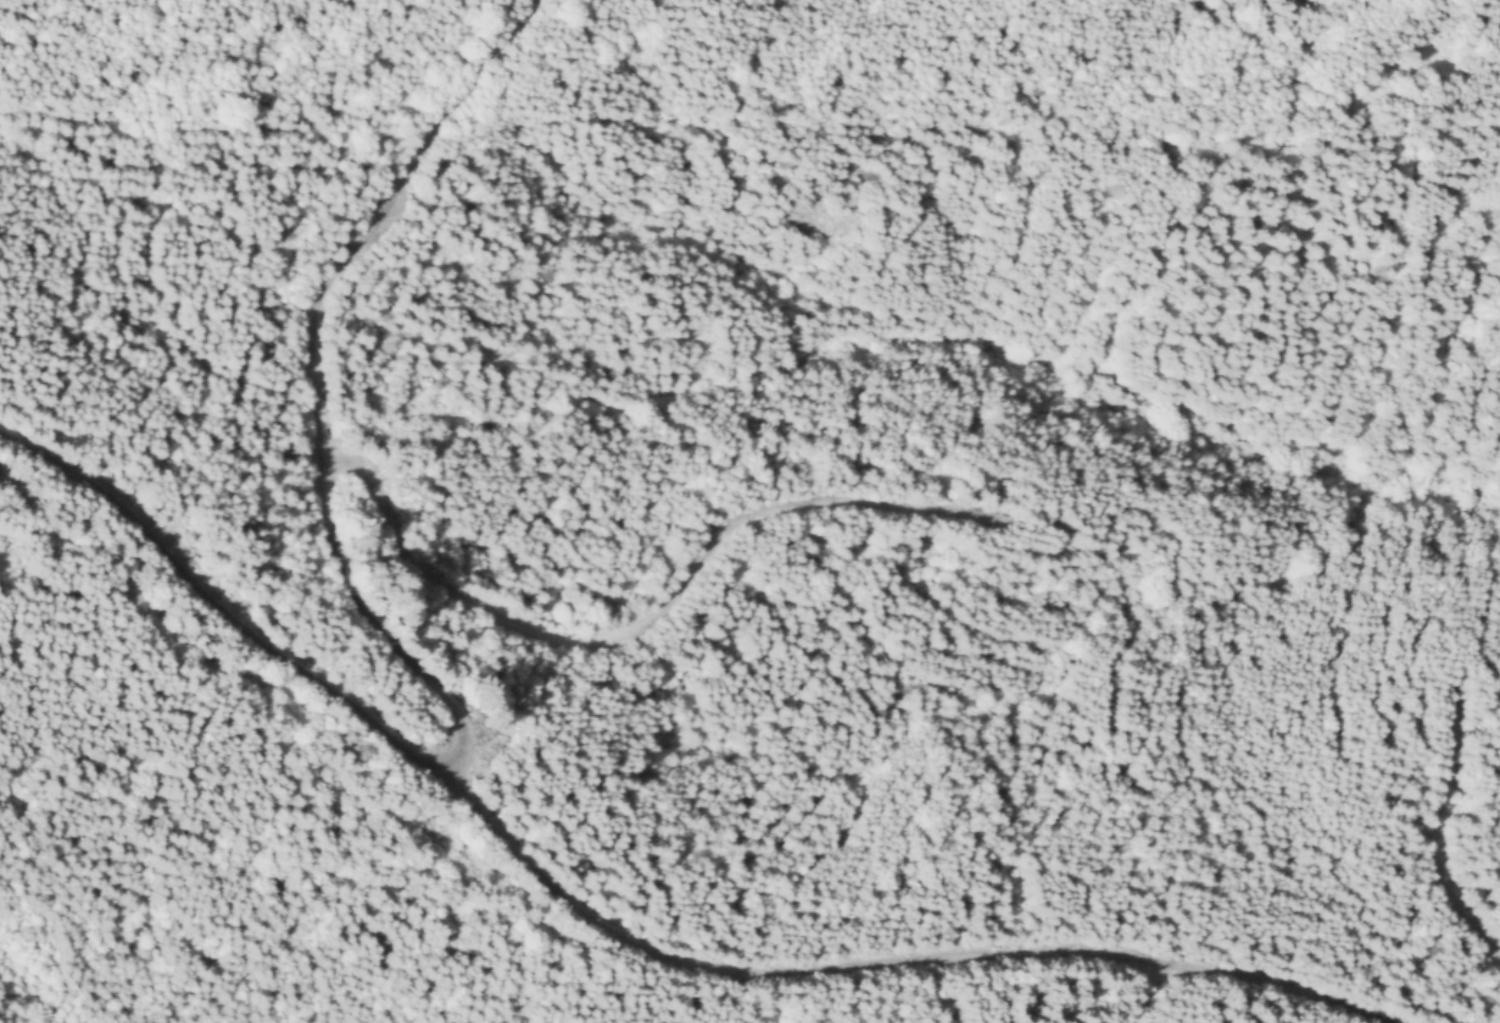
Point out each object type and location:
road: (217, 611)
road: (639, 630)
road: (482, 819)
road: (1432, 832)
road: (1143, 993)

